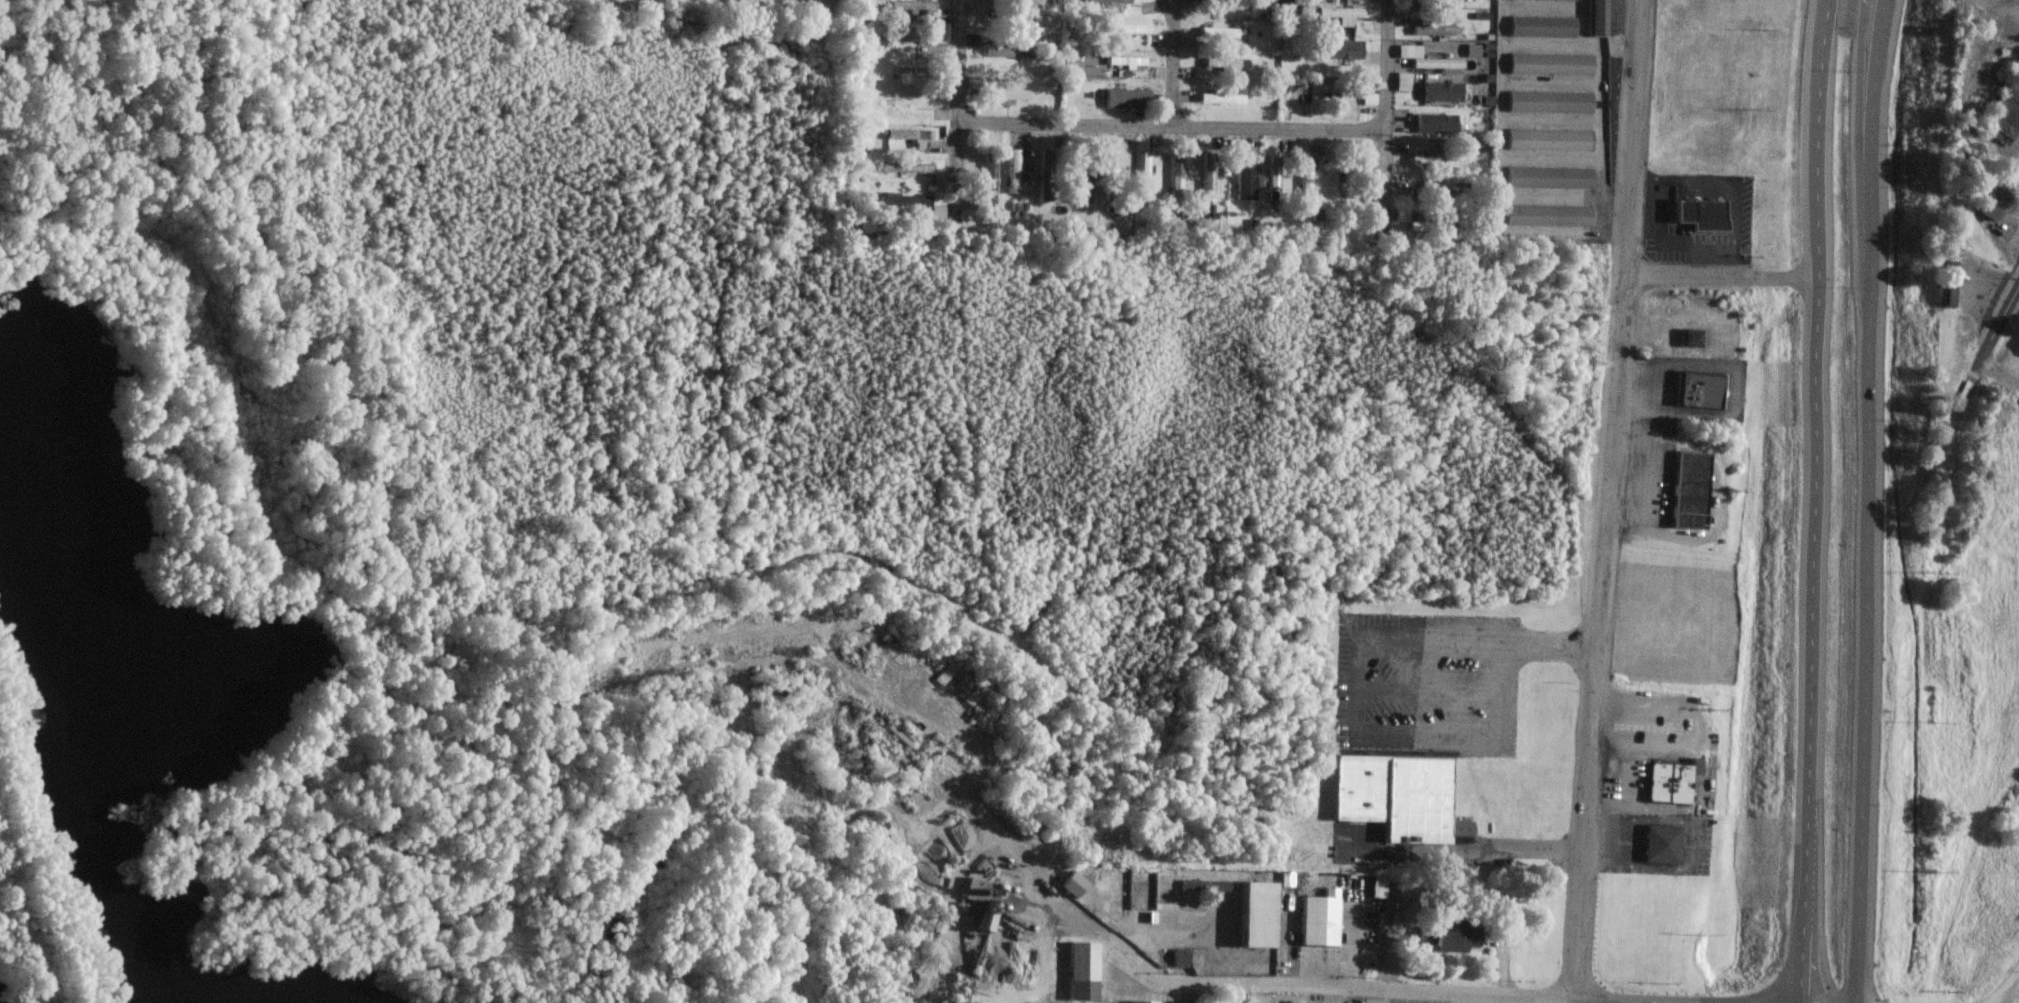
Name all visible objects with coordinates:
building: (1110, 1)
building: (1430, 1)
building: (907, 4)
building: (1232, 4)
building: (1339, 17)
building: (1597, 17)
building: (1002, 19)
building: (1540, 26)
building: (1121, 28)
building: (1430, 29)
building: (1215, 31)
building: (904, 36)
building: (1339, 49)
building: (1004, 51)
building: (1423, 58)
building: (1122, 62)
building: (1222, 62)
road: (1174, 63)
building: (1549, 63)
building: (1399, 81)
building: (1332, 87)
building: (1438, 91)
building: (1000, 93)
building: (1124, 98)
building: (1217, 98)
building: (1366, 98)
building: (1548, 101)
building: (908, 102)
road: (949, 103)
road: (1865, 107)
road: (1382, 108)
building: (2003, 110)
building: (1432, 123)
road: (1165, 126)
building: (905, 135)
building: (1547, 139)
building: (1429, 161)
building: (901, 167)
building: (1011, 171)
building: (1043, 171)
building: (1271, 171)
building: (1108, 174)
building: (1142, 174)
building: (1205, 176)
building: (1303, 176)
building: (1173, 177)
building: (1546, 177)
building: (986, 179)
building: (937, 180)
building: (1243, 183)
building: (1078, 185)
building: (1426, 192)
building: (901, 200)
building: (1990, 204)
building: (1700, 214)
building: (1545, 215)
building: (1416, 221)
road: (1724, 279)
building: (1945, 284)
building: (1688, 339)
road: (1976, 359)
road: (1995, 375)
building: (1696, 390)
building: (1686, 490)
road: (1613, 500)
road: (1811, 501)
road: (1865, 501)
road: (1509, 729)
building: (1667, 783)
building: (1393, 794)
building: (1659, 845)
road: (1471, 851)
building: (1070, 884)
building: (1139, 891)
building: (971, 896)
road: (1061, 900)
building: (1253, 915)
building: (1316, 921)
building: (1443, 938)
building: (1080, 972)
road: (2006, 984)
road: (1430, 993)
road: (1430, 998)
road: (2008, 1000)
road: (1574, 1001)
building: (1140, 1002)

